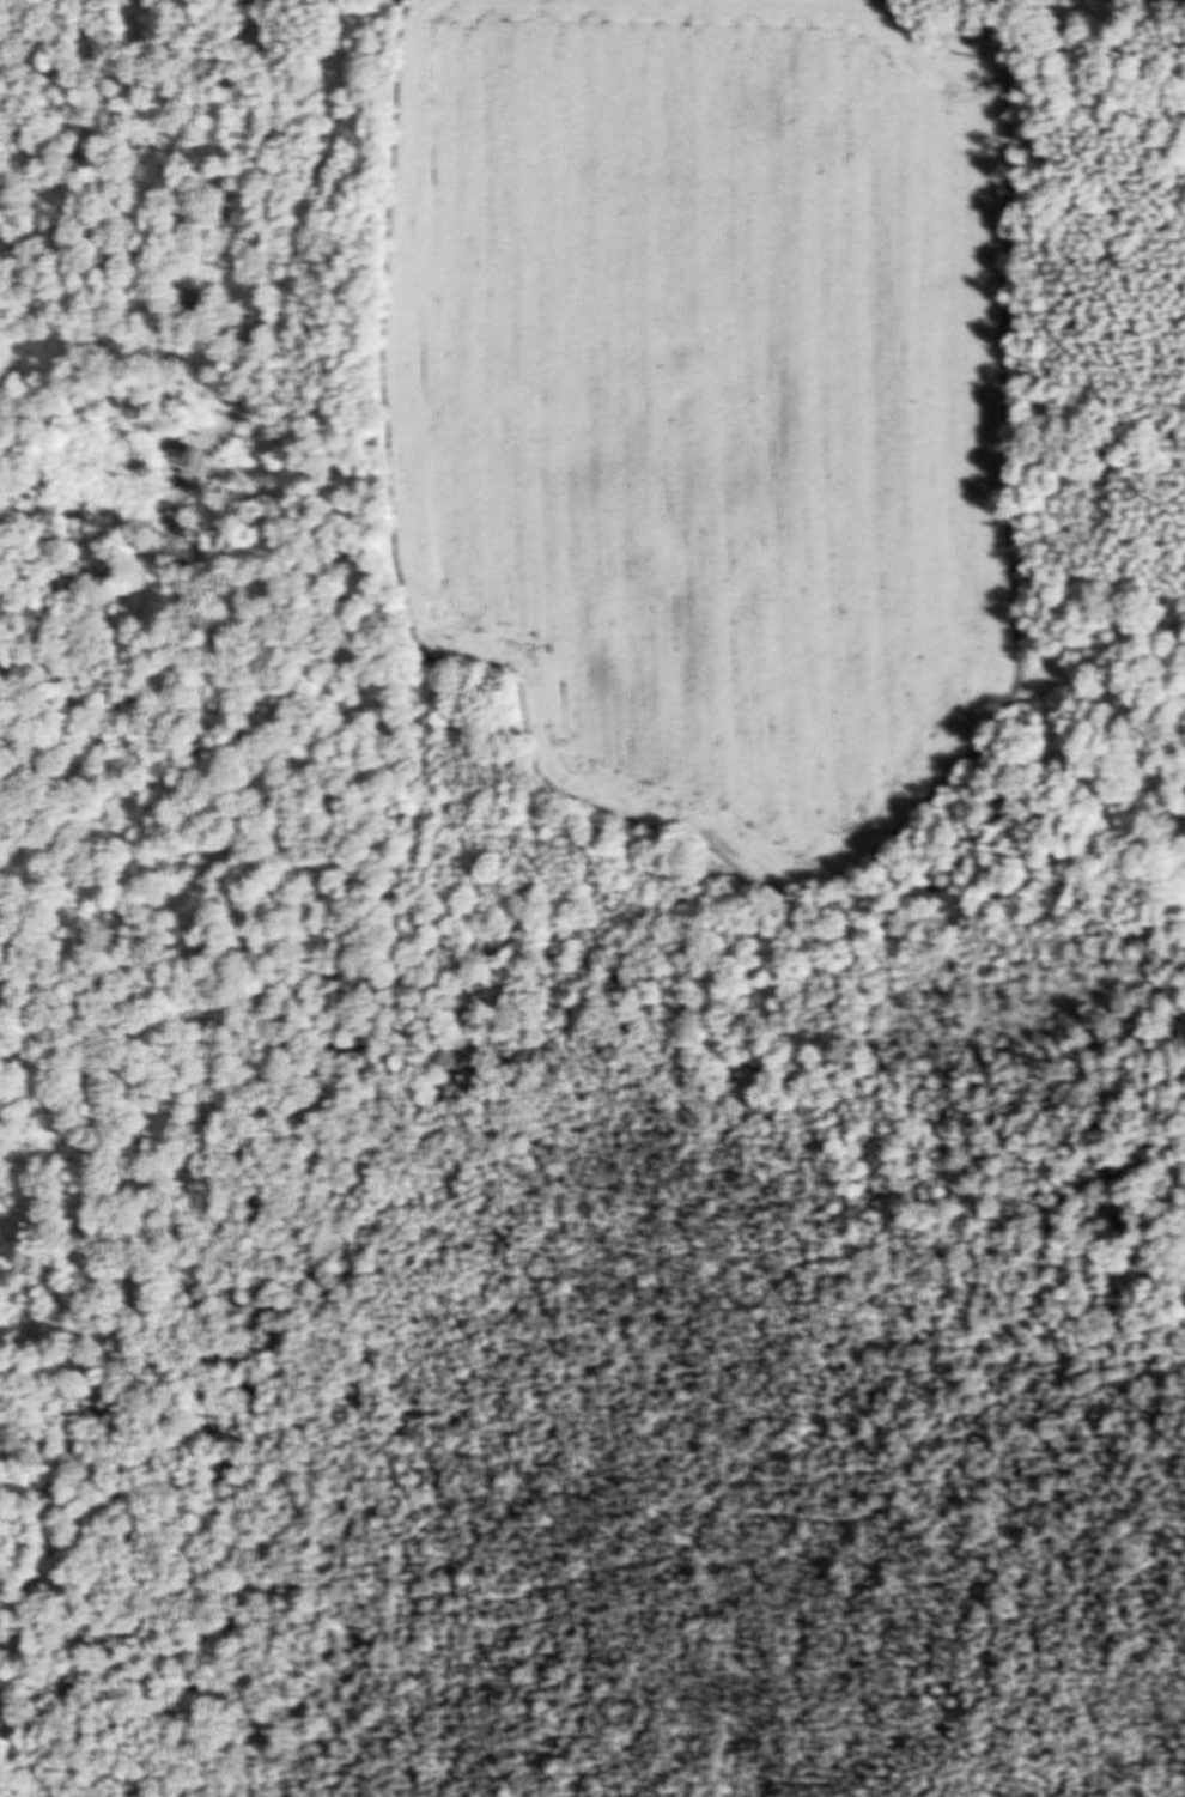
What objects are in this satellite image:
building: (925, 891)

